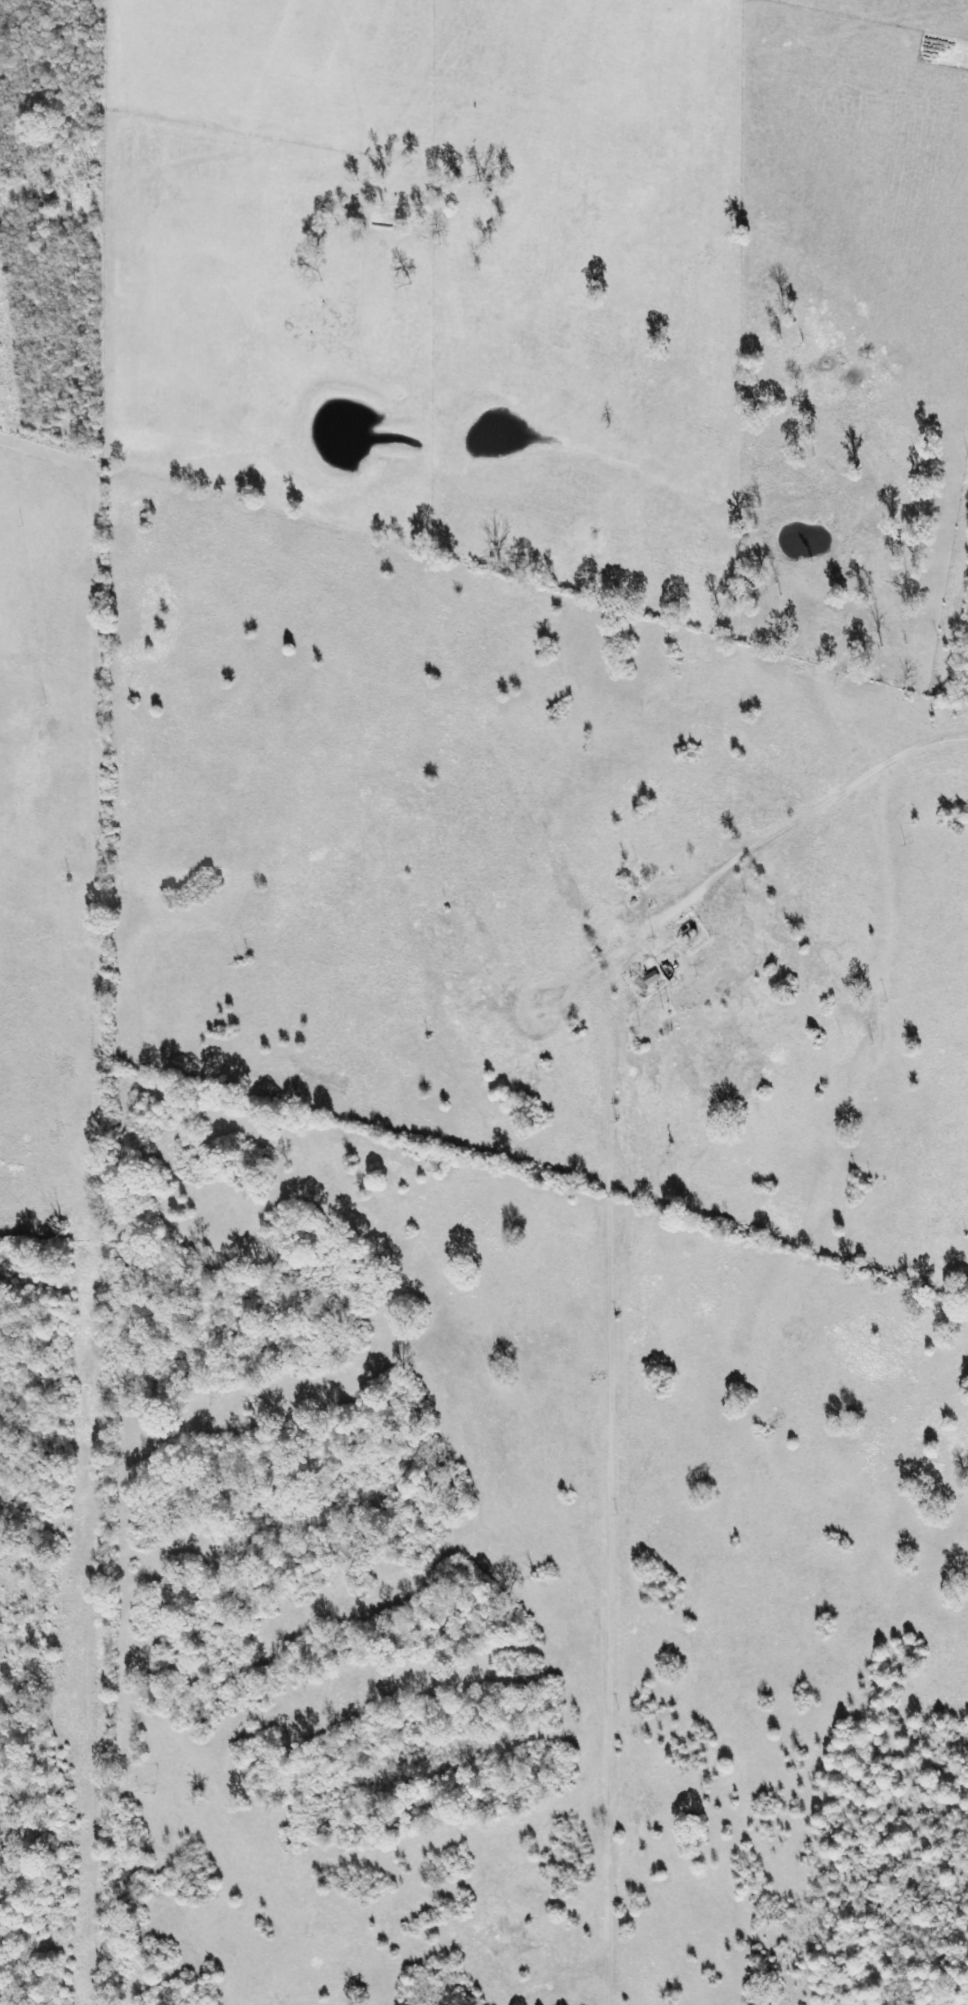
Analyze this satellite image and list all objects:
road: (960, 662)
road: (606, 1264)

